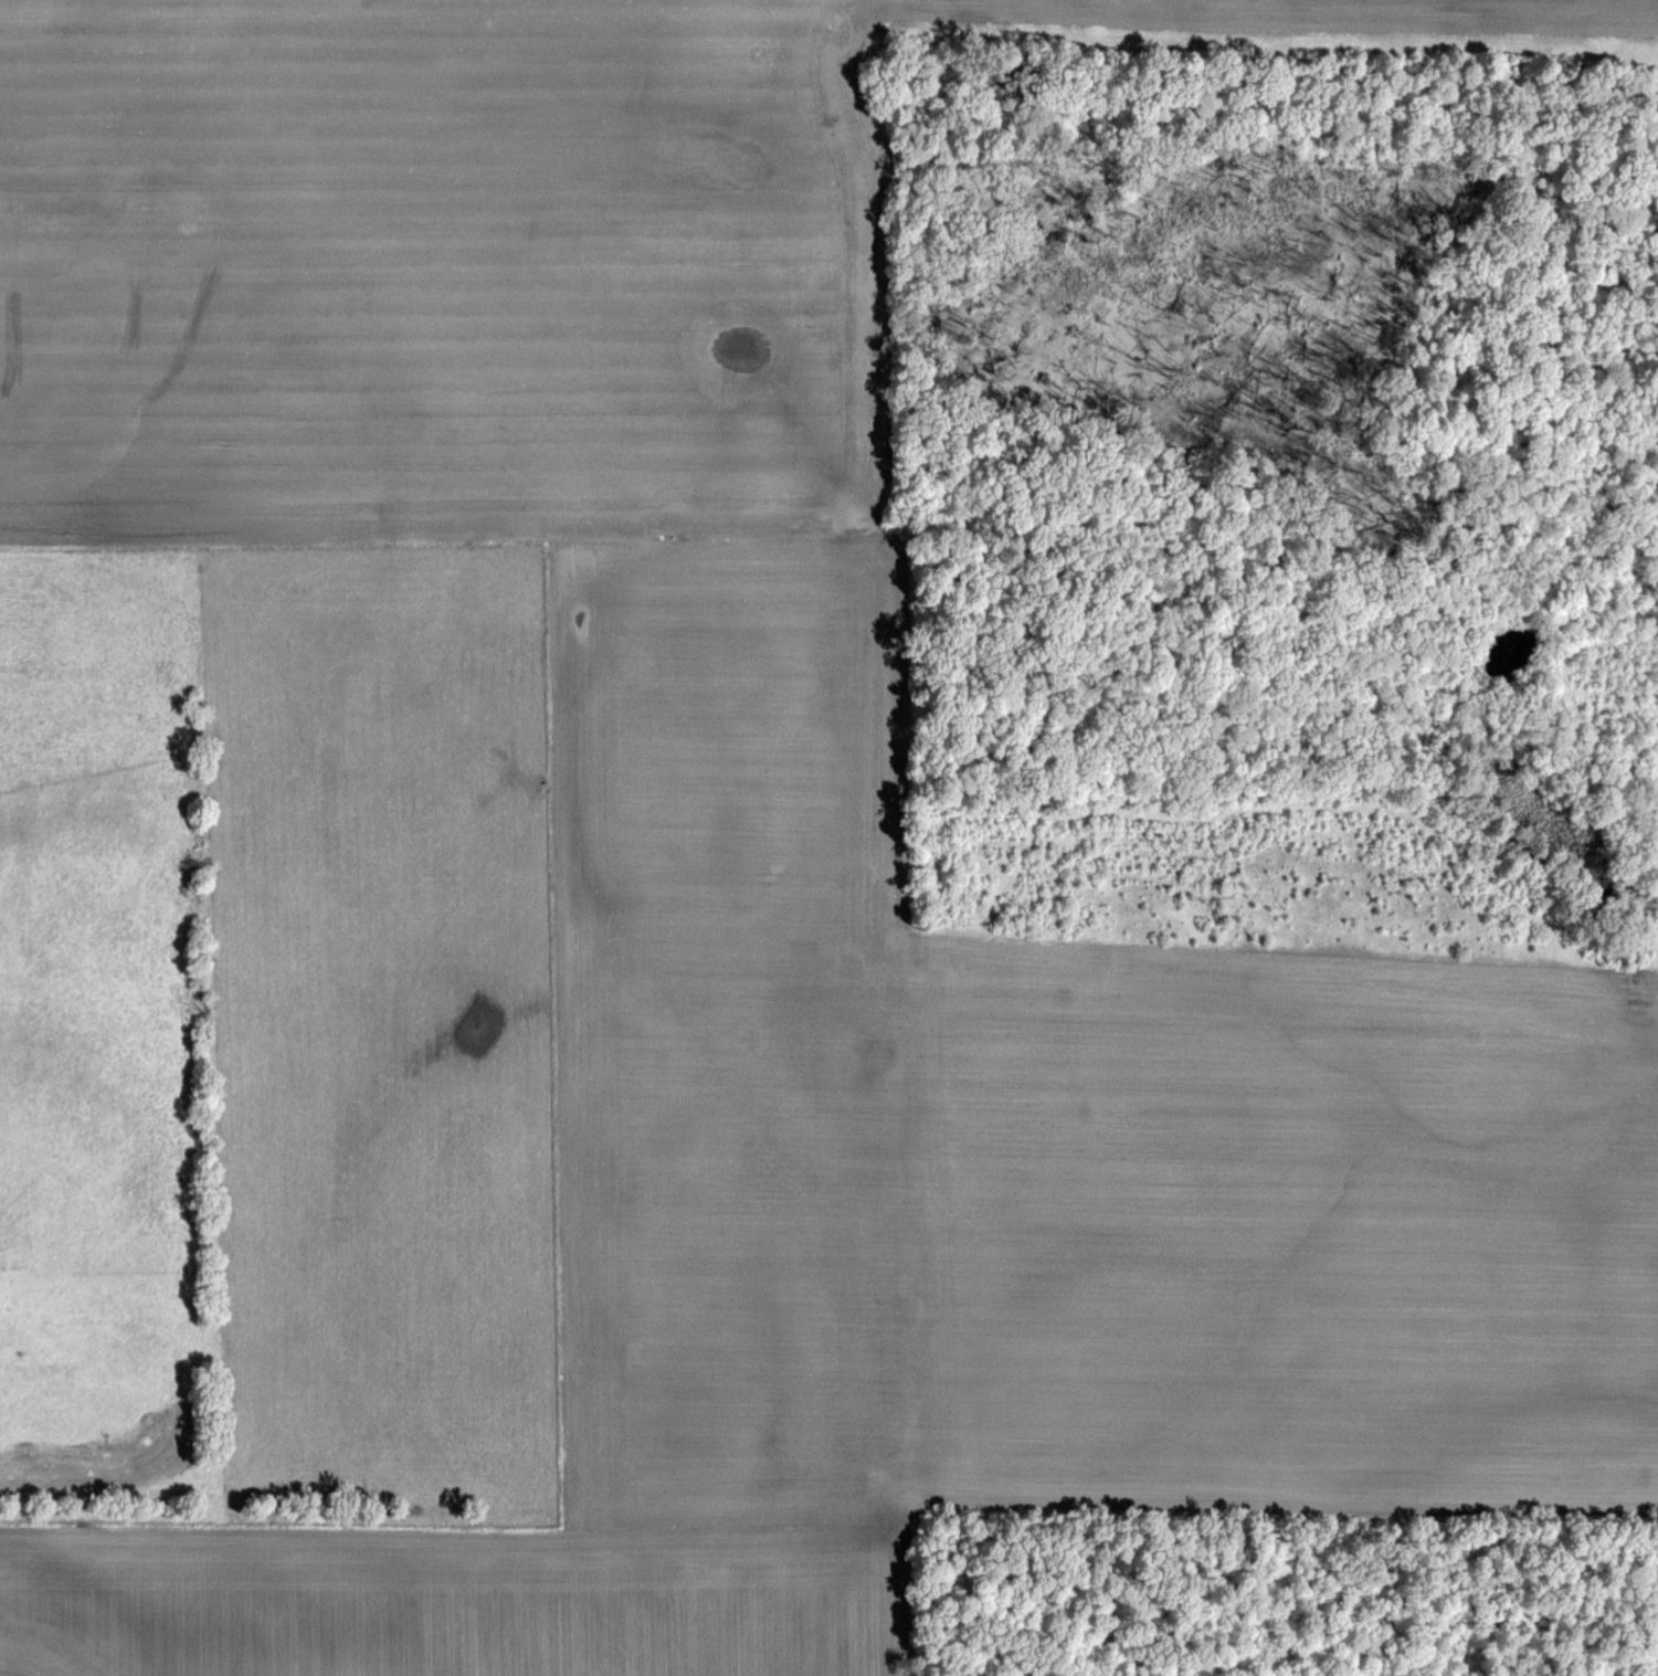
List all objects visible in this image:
crop: (828, 837)

